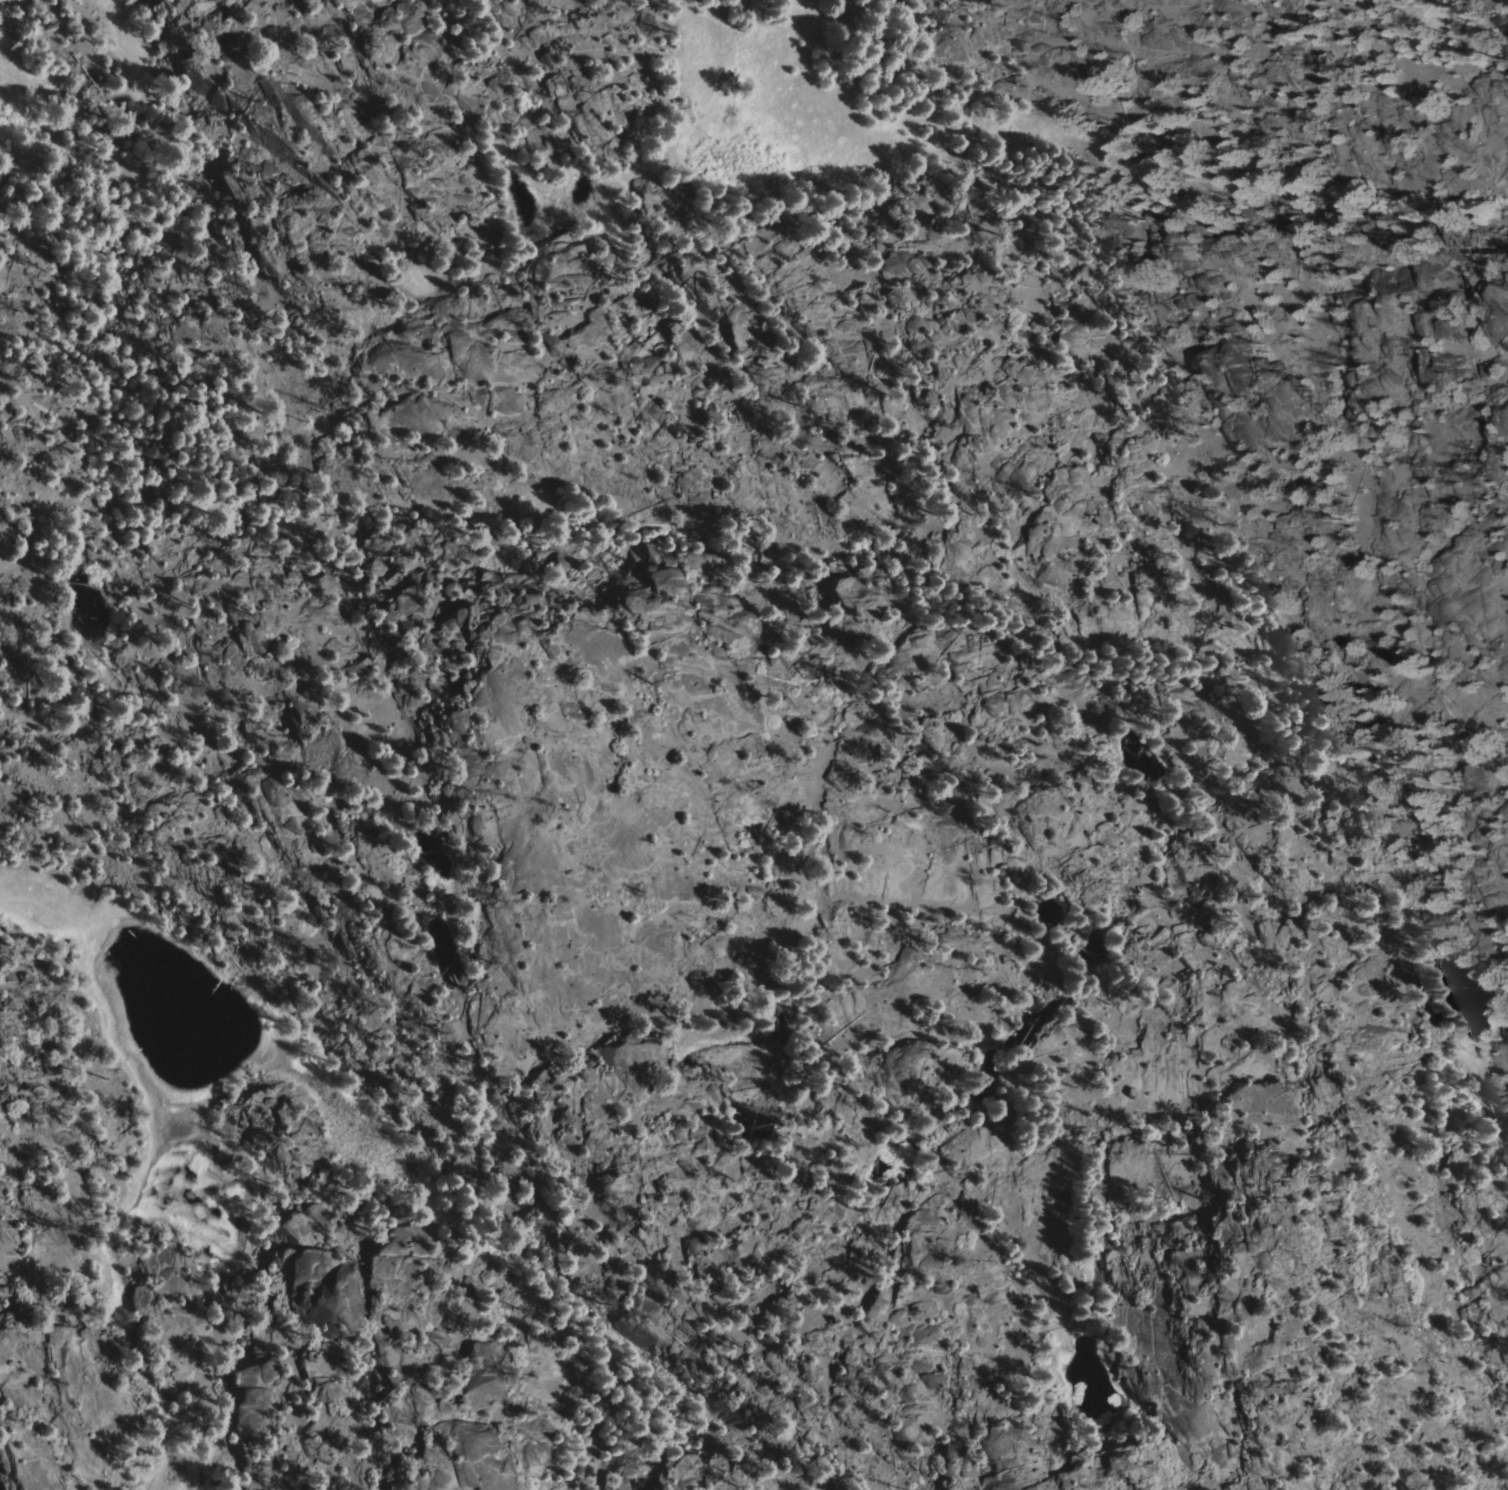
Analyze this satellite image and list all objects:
road: (50, 87)

